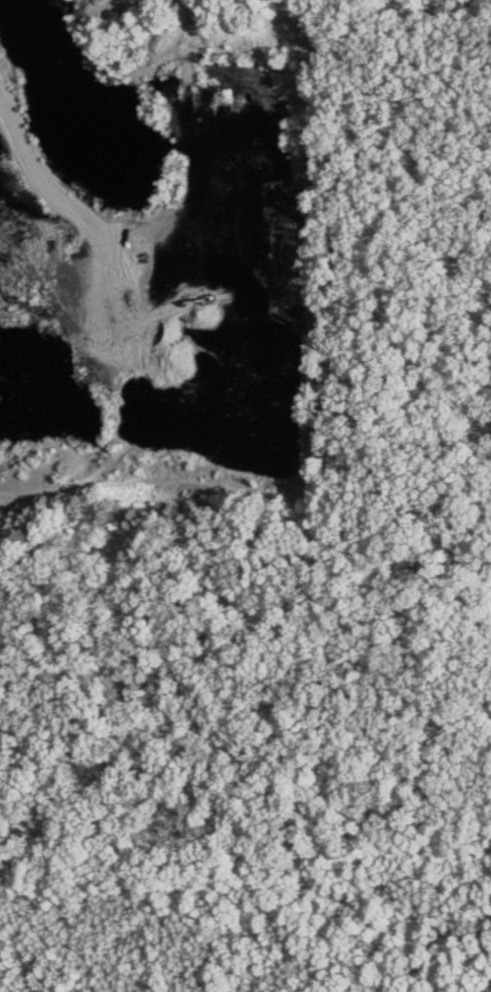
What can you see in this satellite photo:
quarry: (175, 258)

